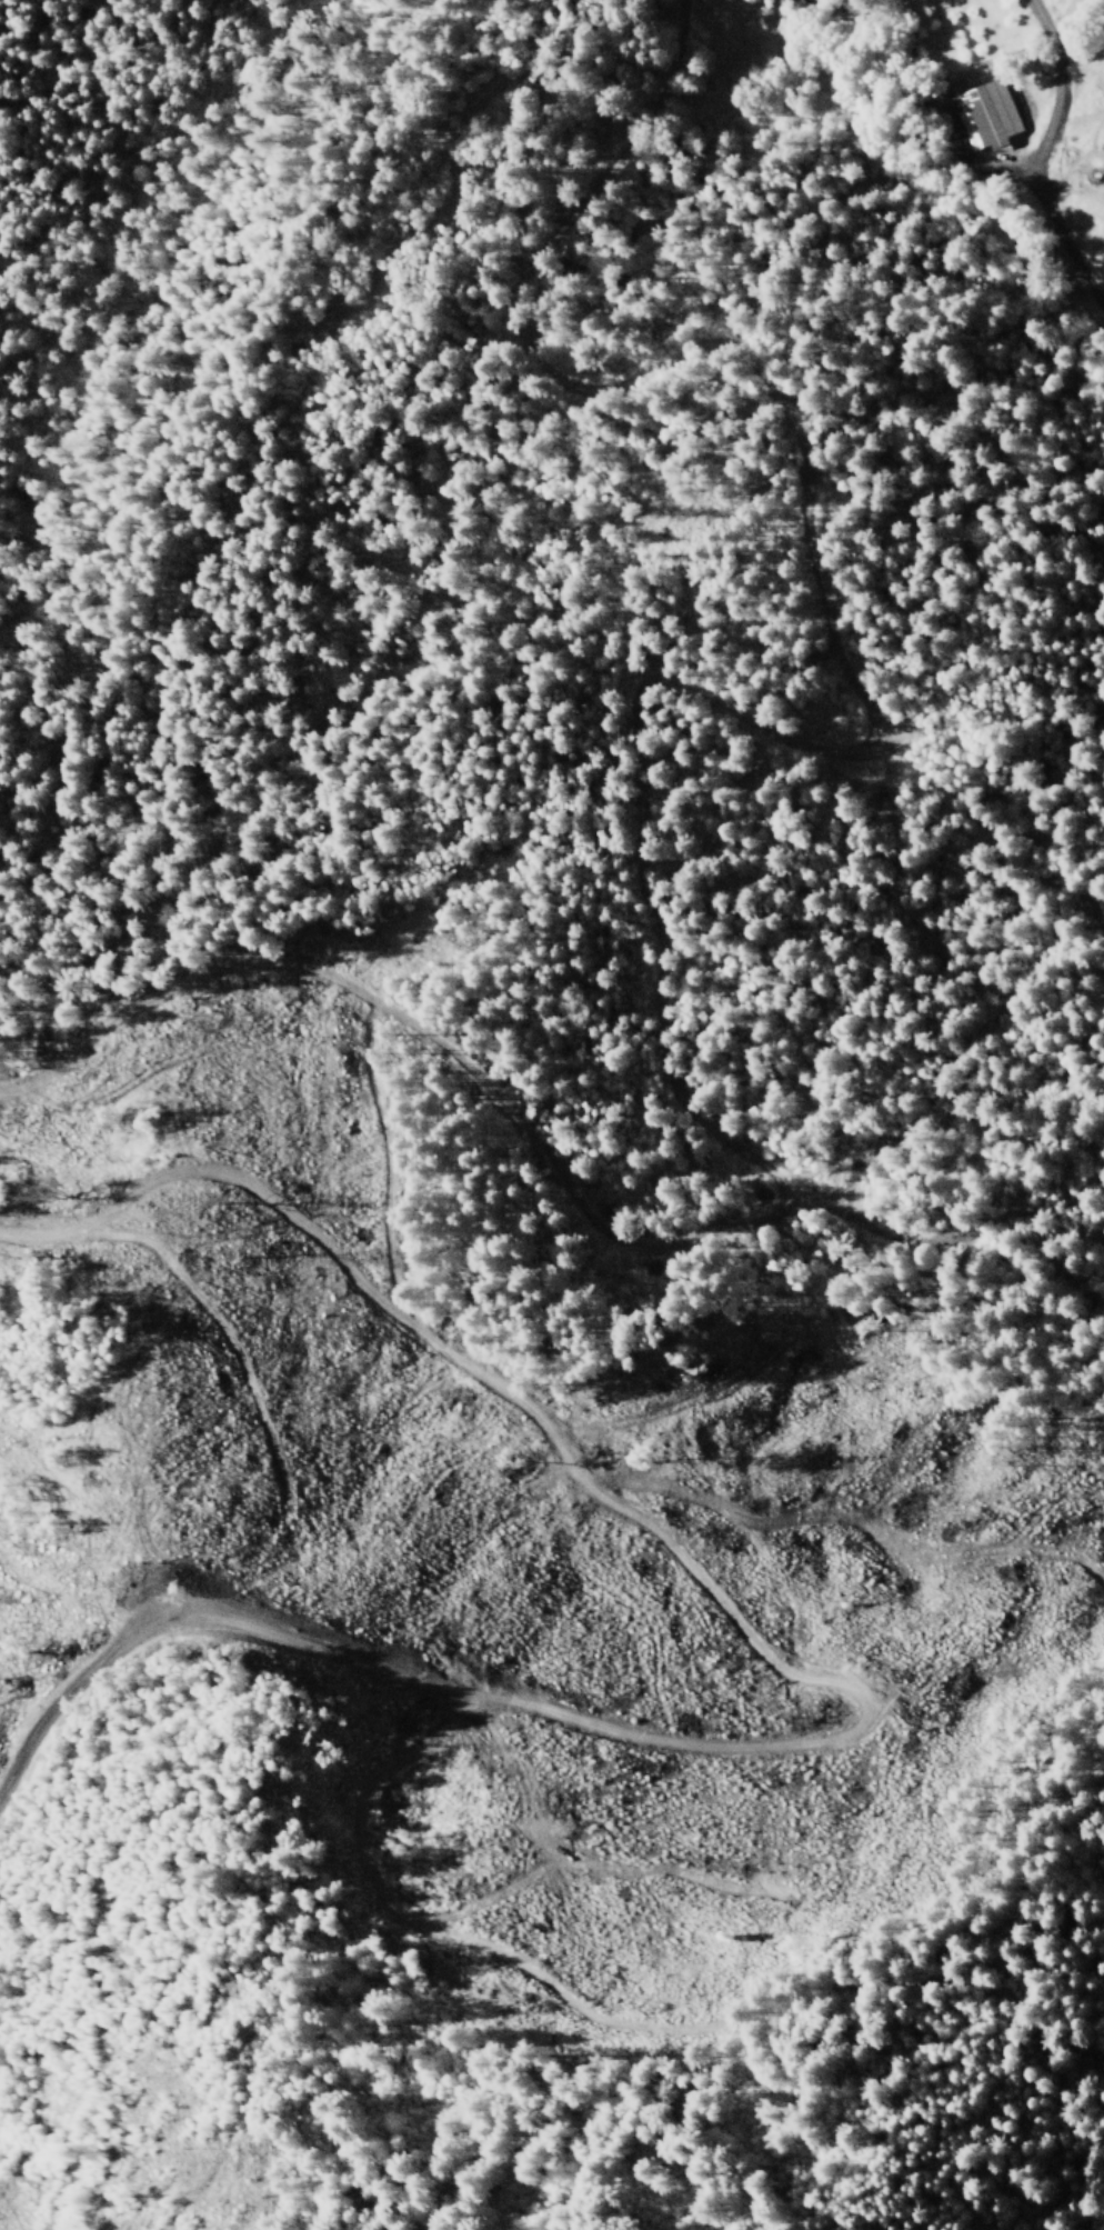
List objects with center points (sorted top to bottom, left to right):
building: (985, 114)

